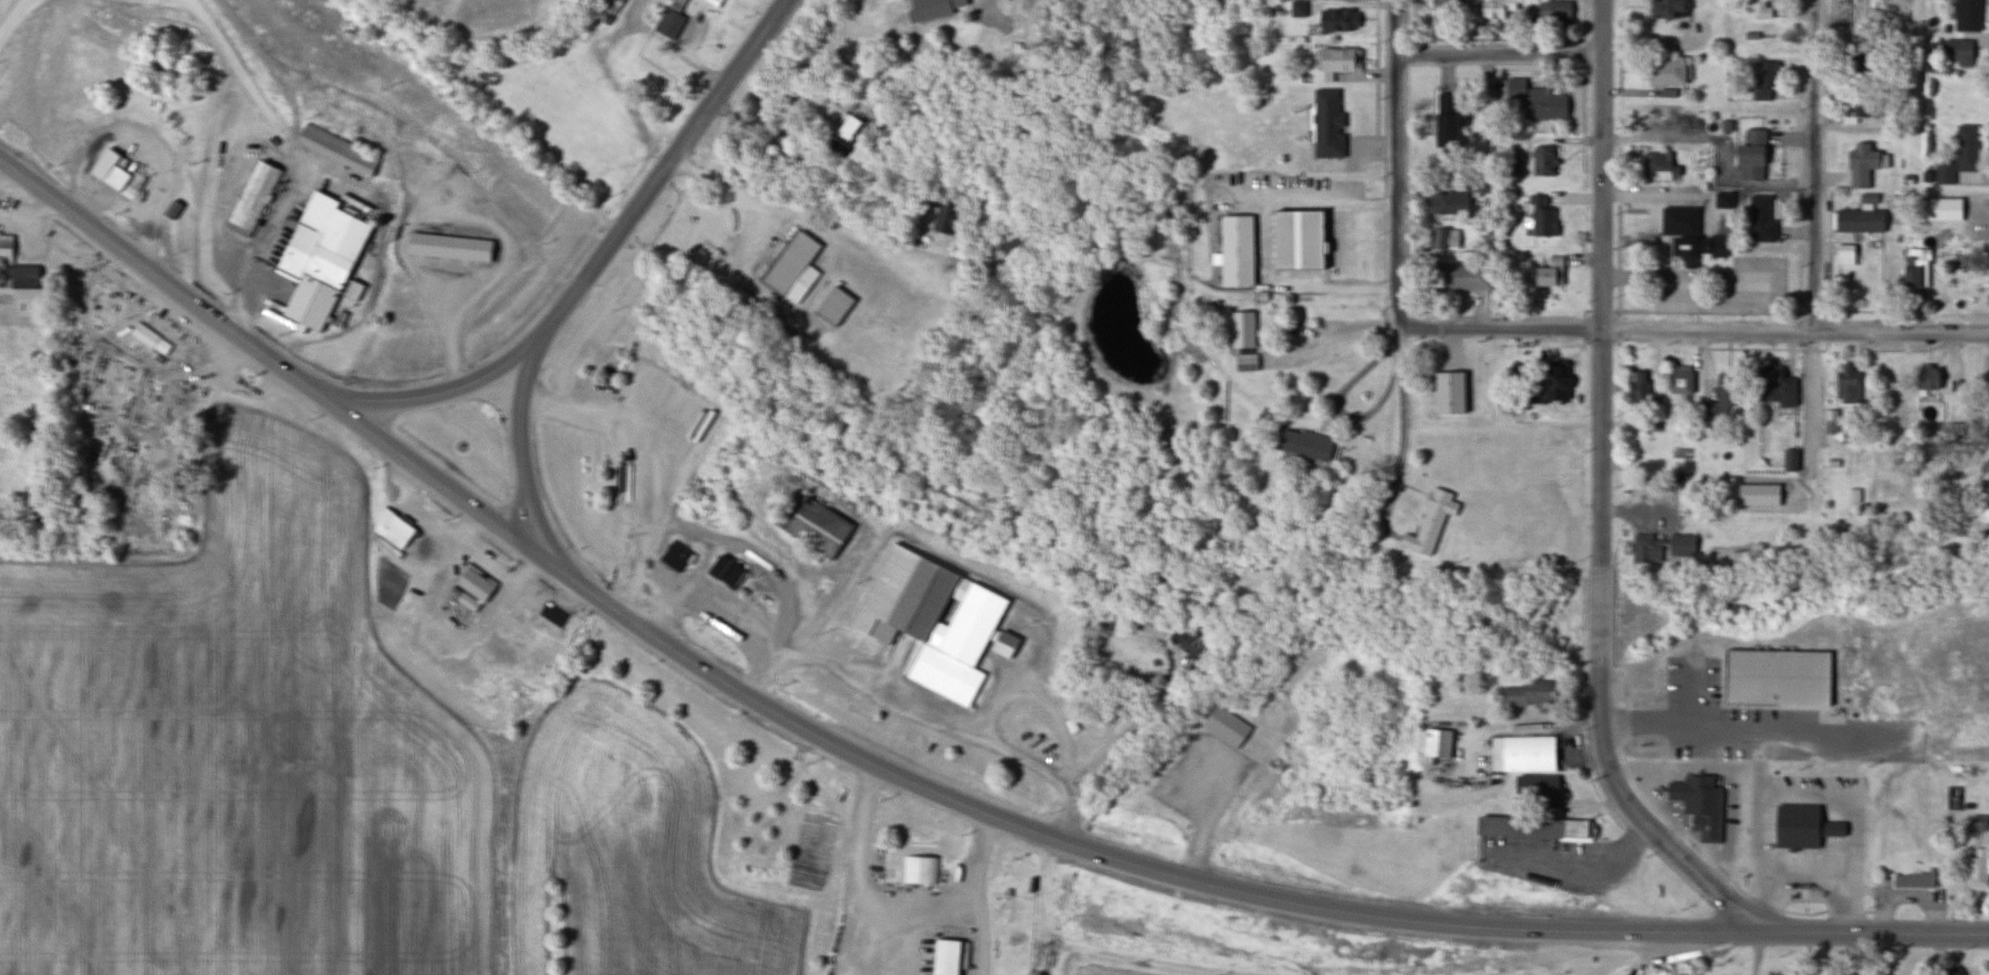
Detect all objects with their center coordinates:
building: (713, 2)
building: (1446, 2)
building: (611, 6)
building: (1296, 8)
building: (1495, 9)
building: (1665, 9)
building: (1763, 9)
building: (991, 11)
building: (1547, 12)
building: (1966, 15)
building: (1864, 17)
building: (669, 19)
building: (1336, 20)
road: (1484, 38)
road: (749, 50)
building: (1957, 51)
road: (1584, 53)
building: (1856, 53)
road: (1501, 57)
building: (1334, 62)
road: (1377, 66)
building: (1664, 73)
building: (1762, 81)
building: (1536, 100)
building: (1858, 109)
building: (829, 115)
building: (1664, 119)
building: (1444, 120)
building: (1326, 122)
building: (336, 149)
building: (1959, 155)
road: (1583, 157)
building: (1541, 161)
building: (1748, 162)
road: (1400, 163)
building: (1860, 165)
building: (1656, 167)
building: (96, 174)
building: (1473, 183)
building: (252, 200)
building: (1722, 201)
building: (1447, 203)
road: (637, 205)
building: (1942, 209)
building: (1541, 217)
road: (1814, 219)
building: (944, 220)
building: (1759, 220)
building: (1858, 221)
building: (1297, 237)
building: (1688, 237)
building: (1444, 239)
building: (1012, 242)
building: (447, 248)
building: (1236, 248)
building: (14, 265)
building: (317, 266)
building: (791, 269)
building: (1914, 269)
building: (1548, 273)
road: (163, 277)
building: (1459, 277)
building: (350, 291)
building: (831, 306)
building: (1241, 329)
road: (1694, 331)
building: (148, 338)
building: (134, 373)
park: (1466, 374)
building: (1885, 379)
building: (1925, 379)
building: (1844, 382)
building: (1548, 384)
building: (1678, 385)
building: (1774, 386)
road: (455, 387)
building: (1637, 387)
building: (158, 390)
building: (664, 394)
building: (1720, 399)
building: (710, 418)
building: (1831, 427)
road: (518, 436)
building: (1302, 444)
building: (1640, 449)
building: (1789, 461)
building: (1984, 474)
road: (1598, 497)
building: (1427, 523)
building: (811, 525)
building: (389, 532)
building: (1678, 547)
building: (1645, 549)
building: (673, 556)
building: (1740, 559)
building: (723, 572)
building: (473, 583)
building: (946, 630)
building: (1191, 637)
building: (1776, 677)
building: (1528, 693)
building: (1224, 726)
building: (1435, 743)
building: (1522, 754)
crop: (324, 764)
building: (1537, 786)
building: (1714, 805)
road: (986, 814)
building: (1978, 823)
building: (1800, 827)
building: (1529, 828)
building: (920, 871)
building: (1977, 871)
building: (1914, 880)
road: (1872, 932)
building: (944, 957)
crop: (1101, 972)
building: (1952, 972)

